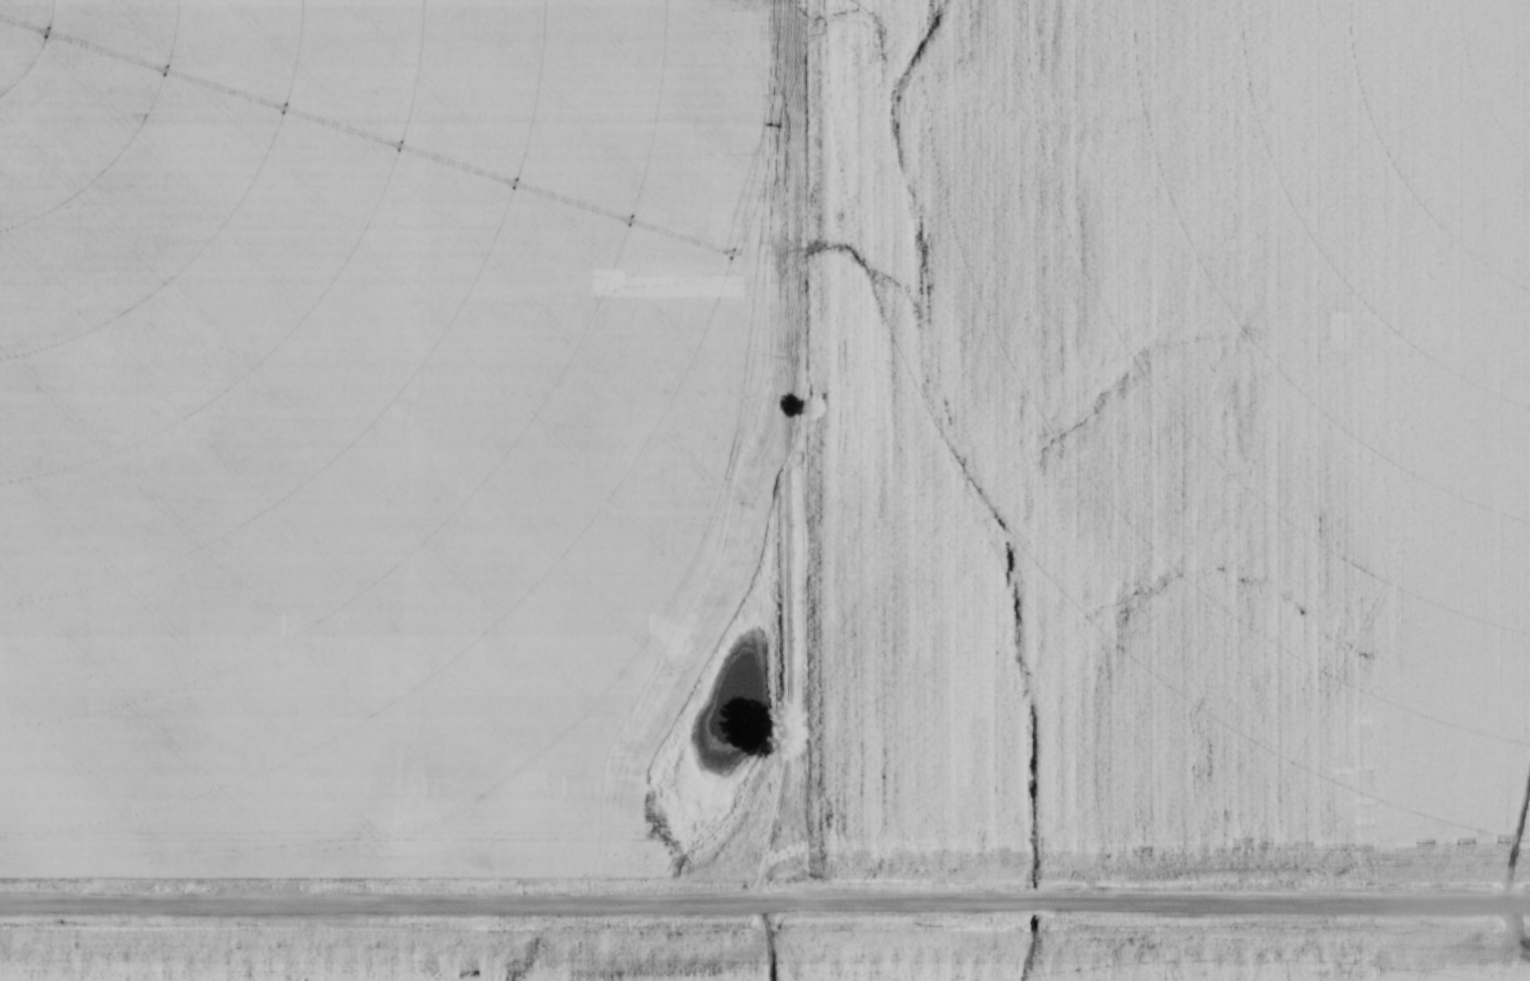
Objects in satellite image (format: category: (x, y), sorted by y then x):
road: (764, 907)

